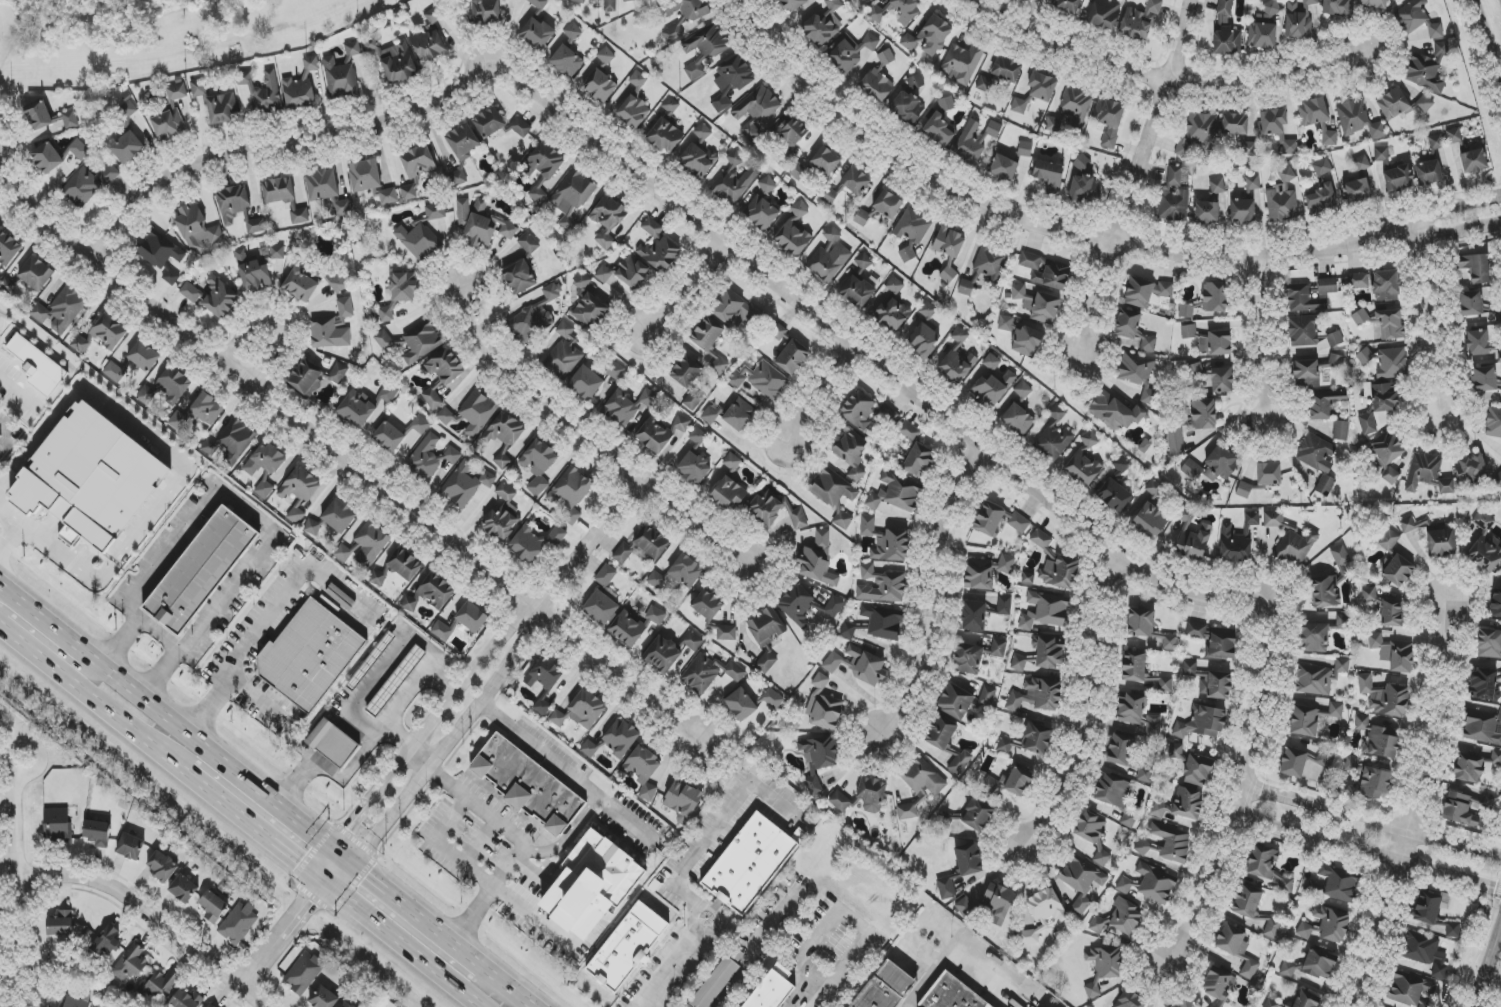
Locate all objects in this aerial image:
building: (627, 0)
building: (578, 1)
building: (1310, 2)
building: (1374, 3)
building: (538, 4)
building: (794, 4)
building: (610, 5)
building: (1067, 6)
building: (1336, 7)
building: (690, 8)
building: (486, 11)
building: (1105, 14)
building: (877, 15)
building: (432, 18)
building: (1417, 19)
building: (1140, 21)
building: (1297, 22)
building: (823, 24)
building: (1265, 28)
building: (1227, 30)
building: (573, 32)
building: (673, 32)
road: (1489, 32)
building: (537, 33)
park: (158, 37)
building: (929, 37)
building: (429, 45)
building: (704, 48)
building: (851, 52)
building: (606, 56)
building: (394, 60)
building: (567, 61)
building: (961, 63)
building: (1427, 68)
building: (342, 73)
building: (1000, 74)
building: (879, 78)
road: (1161, 79)
building: (638, 80)
building: (731, 81)
building: (916, 82)
building: (301, 86)
building: (600, 86)
building: (1042, 86)
building: (176, 92)
building: (262, 92)
building: (216, 103)
building: (1401, 104)
building: (670, 105)
building: (1019, 106)
building: (907, 108)
building: (1072, 109)
building: (127, 110)
building: (755, 111)
building: (1315, 111)
building: (633, 112)
building: (38, 115)
building: (1352, 116)
building: (70, 120)
building: (1109, 120)
building: (489, 122)
road: (1153, 122)
building: (1235, 124)
building: (168, 125)
building: (940, 125)
building: (520, 127)
building: (1278, 129)
building: (791, 130)
building: (1377, 130)
building: (703, 132)
building: (1199, 135)
building: (666, 136)
building: (1455, 136)
building: (1329, 138)
building: (462, 140)
building: (974, 140)
building: (1436, 142)
building: (127, 148)
building: (1248, 148)
building: (79, 149)
building: (1025, 149)
building: (1381, 154)
building: (47, 158)
building: (1474, 159)
building: (826, 160)
building: (697, 161)
building: (1082, 163)
building: (1322, 167)
building: (1004, 168)
building: (416, 169)
building: (798, 171)
building: (1429, 173)
building: (1287, 174)
building: (365, 175)
building: (1049, 175)
building: (1398, 178)
building: (734, 180)
building: (855, 181)
building: (1361, 182)
building: (89, 184)
building: (322, 185)
building: (1252, 185)
building: (1217, 187)
building: (1084, 189)
building: (278, 190)
building: (388, 196)
building: (829, 196)
building: (1173, 196)
building: (1323, 197)
building: (572, 198)
building: (888, 204)
building: (1282, 205)
building: (762, 206)
building: (238, 208)
building: (343, 208)
building: (1242, 210)
building: (1207, 213)
building: (298, 214)
building: (862, 217)
building: (608, 220)
building: (481, 224)
building: (913, 226)
building: (197, 229)
building: (794, 232)
building: (422, 234)
building: (832, 235)
road: (1073, 238)
building: (528, 243)
building: (949, 243)
building: (8, 248)
building: (658, 248)
building: (160, 251)
building: (278, 252)
building: (907, 254)
building: (864, 261)
building: (829, 262)
building: (990, 264)
building: (1477, 268)
building: (1045, 271)
building: (253, 272)
building: (625, 272)
building: (36, 274)
building: (948, 275)
building: (171, 277)
building: (519, 277)
building: (300, 284)
building: (338, 284)
building: (1378, 284)
building: (1327, 286)
building: (404, 287)
building: (966, 288)
building: (1146, 291)
building: (190, 292)
building: (857, 292)
road: (681, 293)
building: (1215, 297)
building: (220, 298)
road: (1094, 299)
building: (1304, 299)
building: (587, 304)
building: (1038, 304)
building: (1479, 306)
building: (892, 307)
building: (61, 310)
building: (927, 310)
building: (738, 311)
building: (1186, 311)
building: (386, 314)
building: (535, 318)
building: (1383, 323)
building: (333, 327)
building: (1134, 329)
building: (777, 331)
building: (1189, 331)
building: (1303, 331)
building: (109, 332)
building: (707, 334)
road: (1422, 334)
building: (1022, 337)
building: (385, 340)
building: (923, 340)
building: (421, 342)
building: (1478, 342)
building: (1216, 343)
building: (80, 344)
road: (834, 346)
road: (1249, 348)
building: (564, 351)
building: (144, 356)
building: (792, 357)
road: (257, 358)
building: (958, 359)
building: (1336, 361)
building: (1387, 362)
building: (718, 365)
building: (38, 366)
building: (445, 366)
building: (1136, 369)
building: (614, 370)
building: (113, 371)
building: (686, 372)
building: (1306, 373)
building: (315, 377)
building: (1212, 378)
building: (1485, 379)
building: (737, 380)
building: (768, 381)
building: (586, 383)
building: (992, 383)
building: (173, 385)
building: (1023, 390)
building: (388, 393)
building: (146, 396)
building: (1149, 396)
building: (432, 399)
road: (815, 399)
building: (693, 400)
building: (1324, 404)
building: (627, 406)
building: (1379, 406)
building: (357, 409)
building: (865, 411)
building: (477, 412)
building: (1115, 412)
building: (198, 413)
building: (1057, 413)
building: (1203, 414)
building: (710, 415)
building: (739, 415)
building: (445, 417)
building: (1017, 420)
building: (1494, 422)
building: (419, 425)
building: (1341, 430)
building: (908, 431)
building: (660, 433)
building: (0, 436)
building: (504, 436)
building: (697, 436)
building: (389, 437)
building: (0, 438)
building: (231, 439)
building: (1175, 440)
road: (583, 443)
building: (1054, 443)
building: (1387, 448)
road: (341, 453)
building: (852, 454)
building: (431, 457)
road: (180, 459)
building: (1318, 460)
building: (920, 461)
building: (732, 462)
building: (1084, 462)
building: (1220, 464)
building: (538, 465)
building: (1121, 465)
building: (265, 467)
building: (694, 468)
building: (1191, 469)
building: (1471, 469)
building: (1269, 473)
building: (1428, 474)
building: (1391, 476)
building: (93, 481)
building: (1500, 481)
building: (465, 484)
building: (299, 485)
building: (833, 488)
building: (1154, 488)
building: (1244, 490)
building: (571, 493)
building: (728, 493)
building: (895, 493)
building: (1114, 496)
road: (243, 503)
building: (776, 512)
building: (296, 515)
building: (503, 515)
road: (12, 516)
building: (339, 516)
building: (989, 519)
building: (1273, 519)
building: (843, 520)
building: (1150, 521)
building: (1019, 523)
building: (1415, 525)
building: (867, 526)
building: (313, 527)
building: (1193, 538)
building: (1238, 540)
building: (1389, 540)
road: (12, 541)
building: (534, 542)
building: (651, 542)
building: (1441, 543)
building: (365, 546)
building: (892, 546)
building: (1295, 547)
road: (586, 550)
building: (624, 553)
building: (817, 560)
building: (405, 564)
building: (1006, 564)
building: (1056, 565)
building: (1397, 569)
building: (201, 571)
building: (686, 571)
building: (606, 575)
building: (980, 575)
building: (378, 576)
building: (1028, 578)
building: (655, 580)
building: (1329, 582)
building: (882, 586)
building: (431, 593)
road: (931, 597)
building: (1004, 604)
building: (708, 605)
building: (797, 605)
building: (1495, 605)
building: (834, 607)
building: (600, 608)
building: (1045, 611)
building: (1392, 614)
building: (656, 615)
building: (974, 616)
building: (472, 617)
building: (883, 621)
building: (1342, 622)
building: (1147, 627)
building: (627, 628)
building: (848, 630)
building: (442, 631)
building: (726, 633)
road: (160, 634)
road: (13, 636)
building: (766, 636)
building: (1315, 638)
building: (693, 640)
building: (1215, 640)
building: (1489, 643)
building: (998, 648)
road: (241, 652)
building: (1392, 652)
building: (1049, 653)
building: (662, 654)
building: (308, 657)
building: (968, 658)
building: (832, 662)
road: (65, 663)
building: (1020, 663)
building: (866, 666)
building: (735, 672)
building: (1142, 672)
building: (544, 674)
building: (701, 674)
building: (1319, 677)
road: (372, 681)
building: (396, 681)
building: (1209, 681)
building: (1484, 684)
building: (987, 696)
building: (1037, 696)
building: (1384, 697)
building: (772, 699)
building: (957, 700)
building: (741, 705)
building: (824, 707)
building: (542, 708)
road: (106, 710)
building: (581, 711)
road: (1086, 713)
building: (1138, 713)
building: (1313, 717)
road: (166, 718)
building: (0, 720)
building: (1201, 723)
road: (430, 726)
building: (1482, 726)
road: (384, 730)
building: (941, 732)
building: (620, 738)
building: (1037, 738)
building: (1378, 739)
road: (448, 740)
building: (332, 743)
building: (589, 749)
building: (1121, 749)
road: (539, 750)
road: (421, 756)
building: (1325, 757)
building: (960, 762)
building: (1293, 763)
building: (1475, 763)
building: (1198, 770)
building: (643, 771)
building: (1144, 774)
building: (923, 778)
building: (1009, 782)
building: (1374, 783)
road: (447, 785)
building: (528, 786)
building: (1112, 790)
building: (871, 794)
road: (1414, 800)
building: (682, 801)
building: (840, 801)
building: (1181, 805)
building: (1467, 808)
building: (907, 811)
building: (977, 815)
road: (1373, 818)
road: (453, 819)
building: (1129, 819)
road: (624, 820)
building: (56, 823)
road: (334, 826)
road: (254, 827)
building: (97, 833)
road: (570, 837)
building: (1167, 844)
building: (130, 847)
traffic signals: (333, 850)
road: (1367, 856)
road: (342, 857)
building: (1263, 860)
traffic signals: (352, 865)
building: (751, 865)
building: (162, 866)
road: (328, 866)
building: (961, 869)
building: (603, 871)
road: (681, 872)
road: (337, 873)
road: (506, 875)
road: (29, 879)
building: (1081, 881)
traffic signals: (323, 882)
building: (1340, 883)
building: (1155, 884)
building: (1287, 884)
building: (1124, 885)
building: (183, 888)
road: (1496, 898)
building: (1247, 901)
building: (213, 906)
building: (1046, 906)
building: (1427, 907)
road: (840, 909)
road: (417, 916)
road: (156, 919)
building: (1119, 919)
building: (238, 923)
building: (60, 924)
building: (1332, 924)
building: (1272, 929)
building: (1304, 930)
building: (1453, 930)
road: (282, 934)
road: (560, 938)
building: (107, 943)
road: (401, 944)
road: (754, 947)
building: (627, 948)
building: (1237, 949)
road: (970, 952)
building: (1425, 953)
building: (130, 964)
building: (1312, 965)
building: (1103, 967)
building: (304, 973)
road: (1490, 974)
building: (718, 982)
building: (160, 983)
building: (1217, 986)
road: (507, 988)
building: (887, 988)
building: (775, 989)
building: (1410, 990)
road: (821, 994)
building: (952, 994)
building: (324, 998)
building: (1307, 999)
building: (186, 1000)
building: (1130, 1000)
building: (77, 1001)
building: (1273, 1004)
building: (210, 1005)
building: (346, 1005)
building: (1183, 1005)

